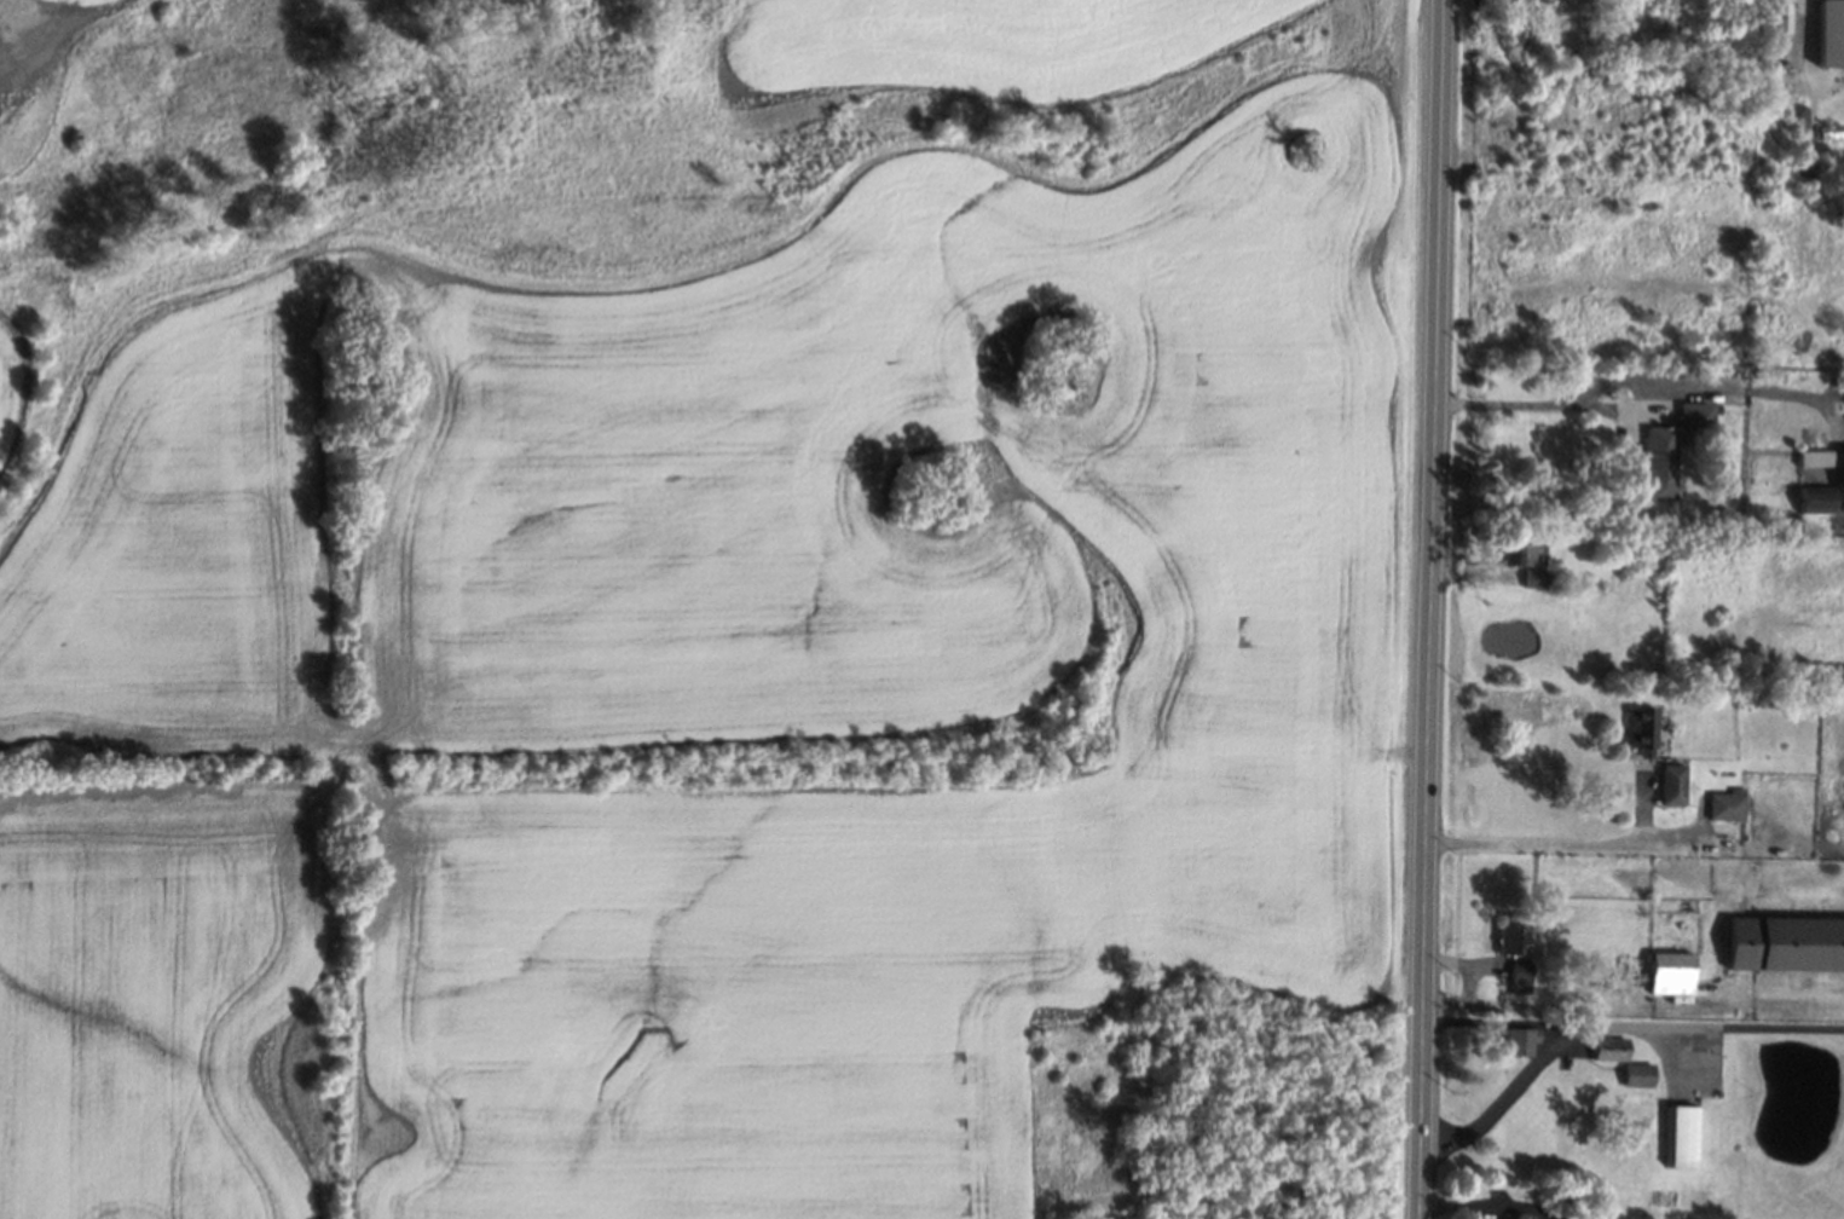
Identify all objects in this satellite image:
building: (1781, 17)
building: (1831, 33)
crop: (970, 52)
crop: (16, 103)
crop: (13, 383)
road: (1528, 403)
building: (1695, 416)
building: (1816, 458)
building: (1660, 463)
building: (1817, 499)
crop: (173, 544)
building: (1525, 554)
building: (1536, 578)
road: (1430, 609)
crop: (878, 652)
building: (1643, 727)
building: (1675, 785)
building: (1728, 805)
road: (1542, 842)
building: (1514, 938)
building: (1786, 943)
building: (1674, 974)
building: (1521, 977)
crop: (162, 1005)
road: (1611, 1023)
building: (1518, 1040)
building: (1611, 1048)
building: (1640, 1074)
building: (1683, 1137)
building: (1521, 1215)

